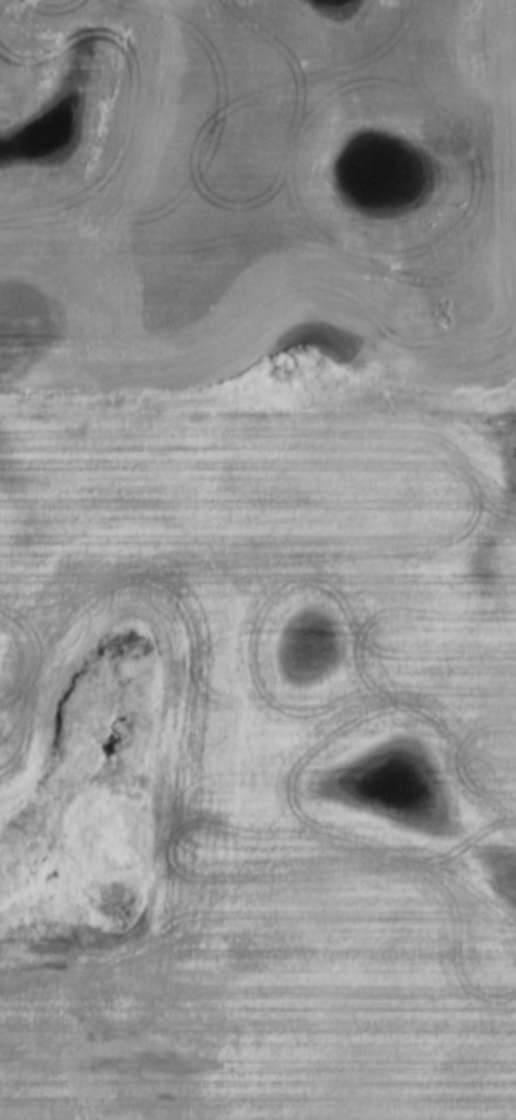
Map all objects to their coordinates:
road: (66, 1071)
road: (14, 1114)

